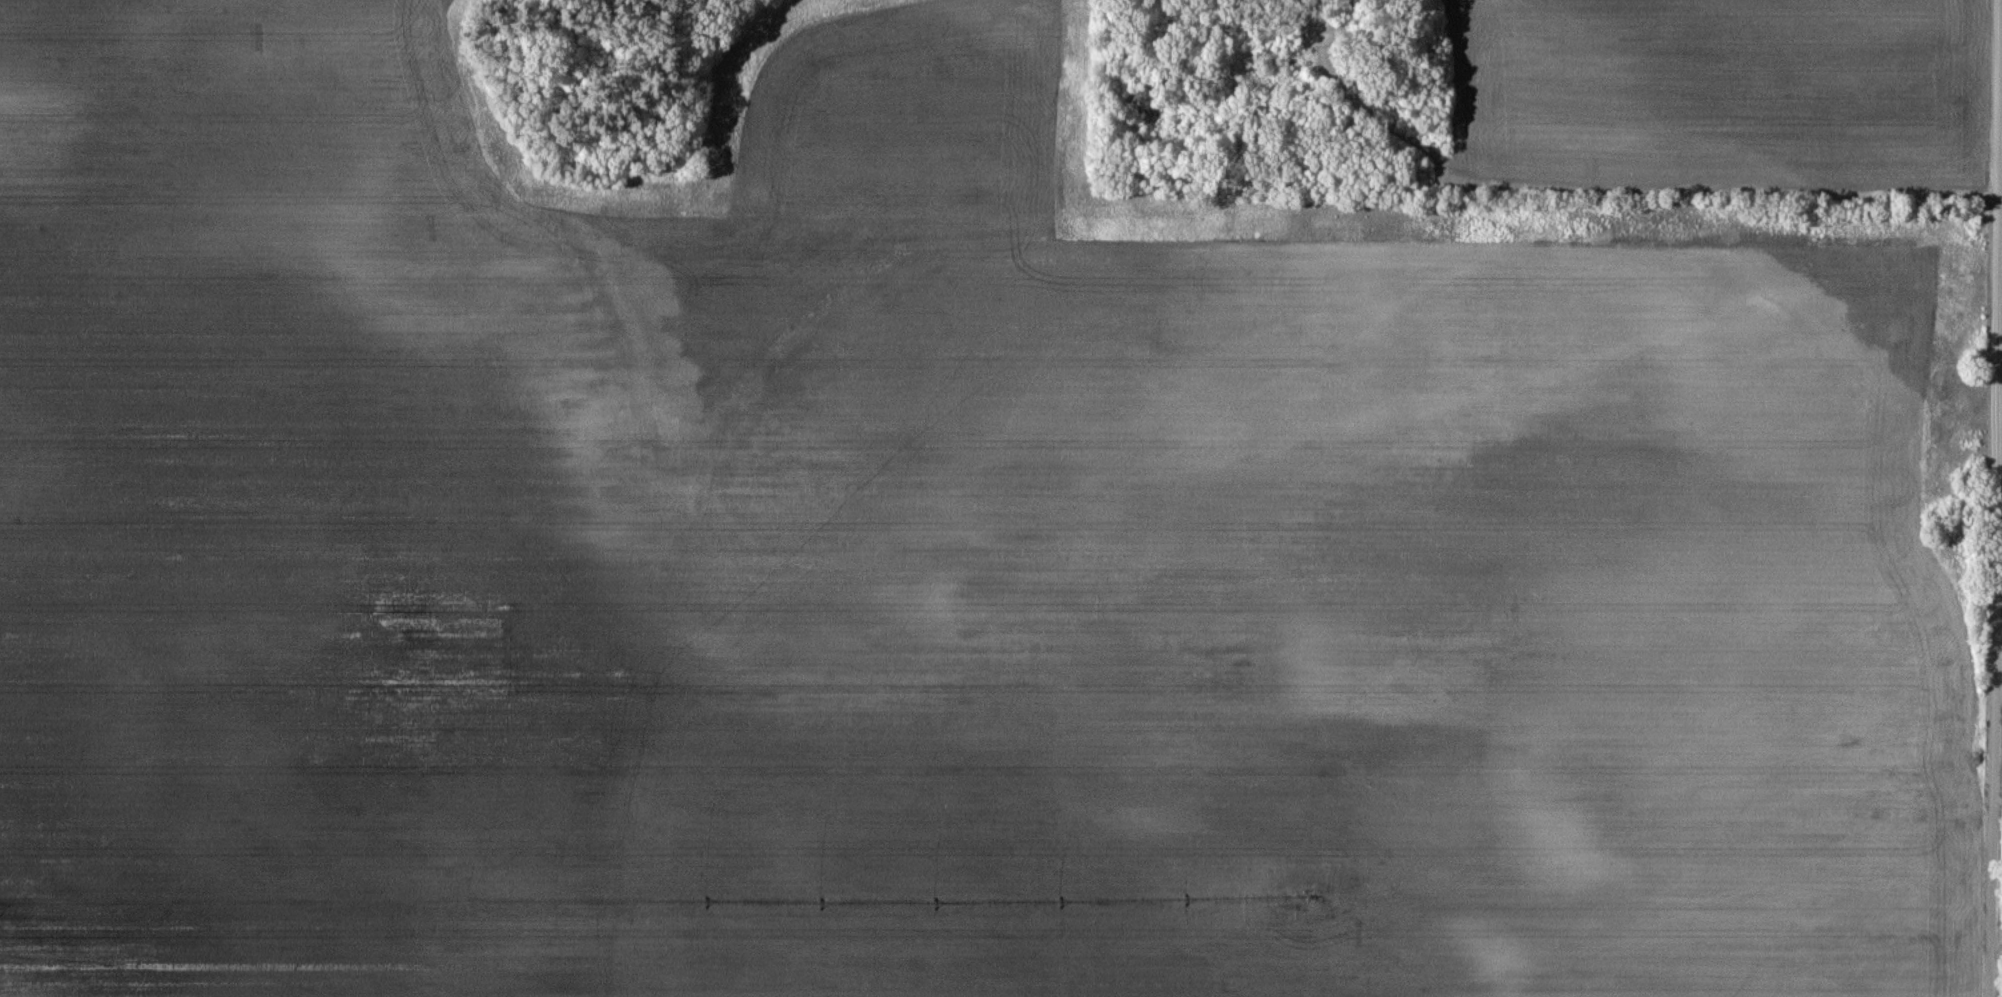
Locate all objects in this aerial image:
road: (1995, 498)
road: (1997, 935)

